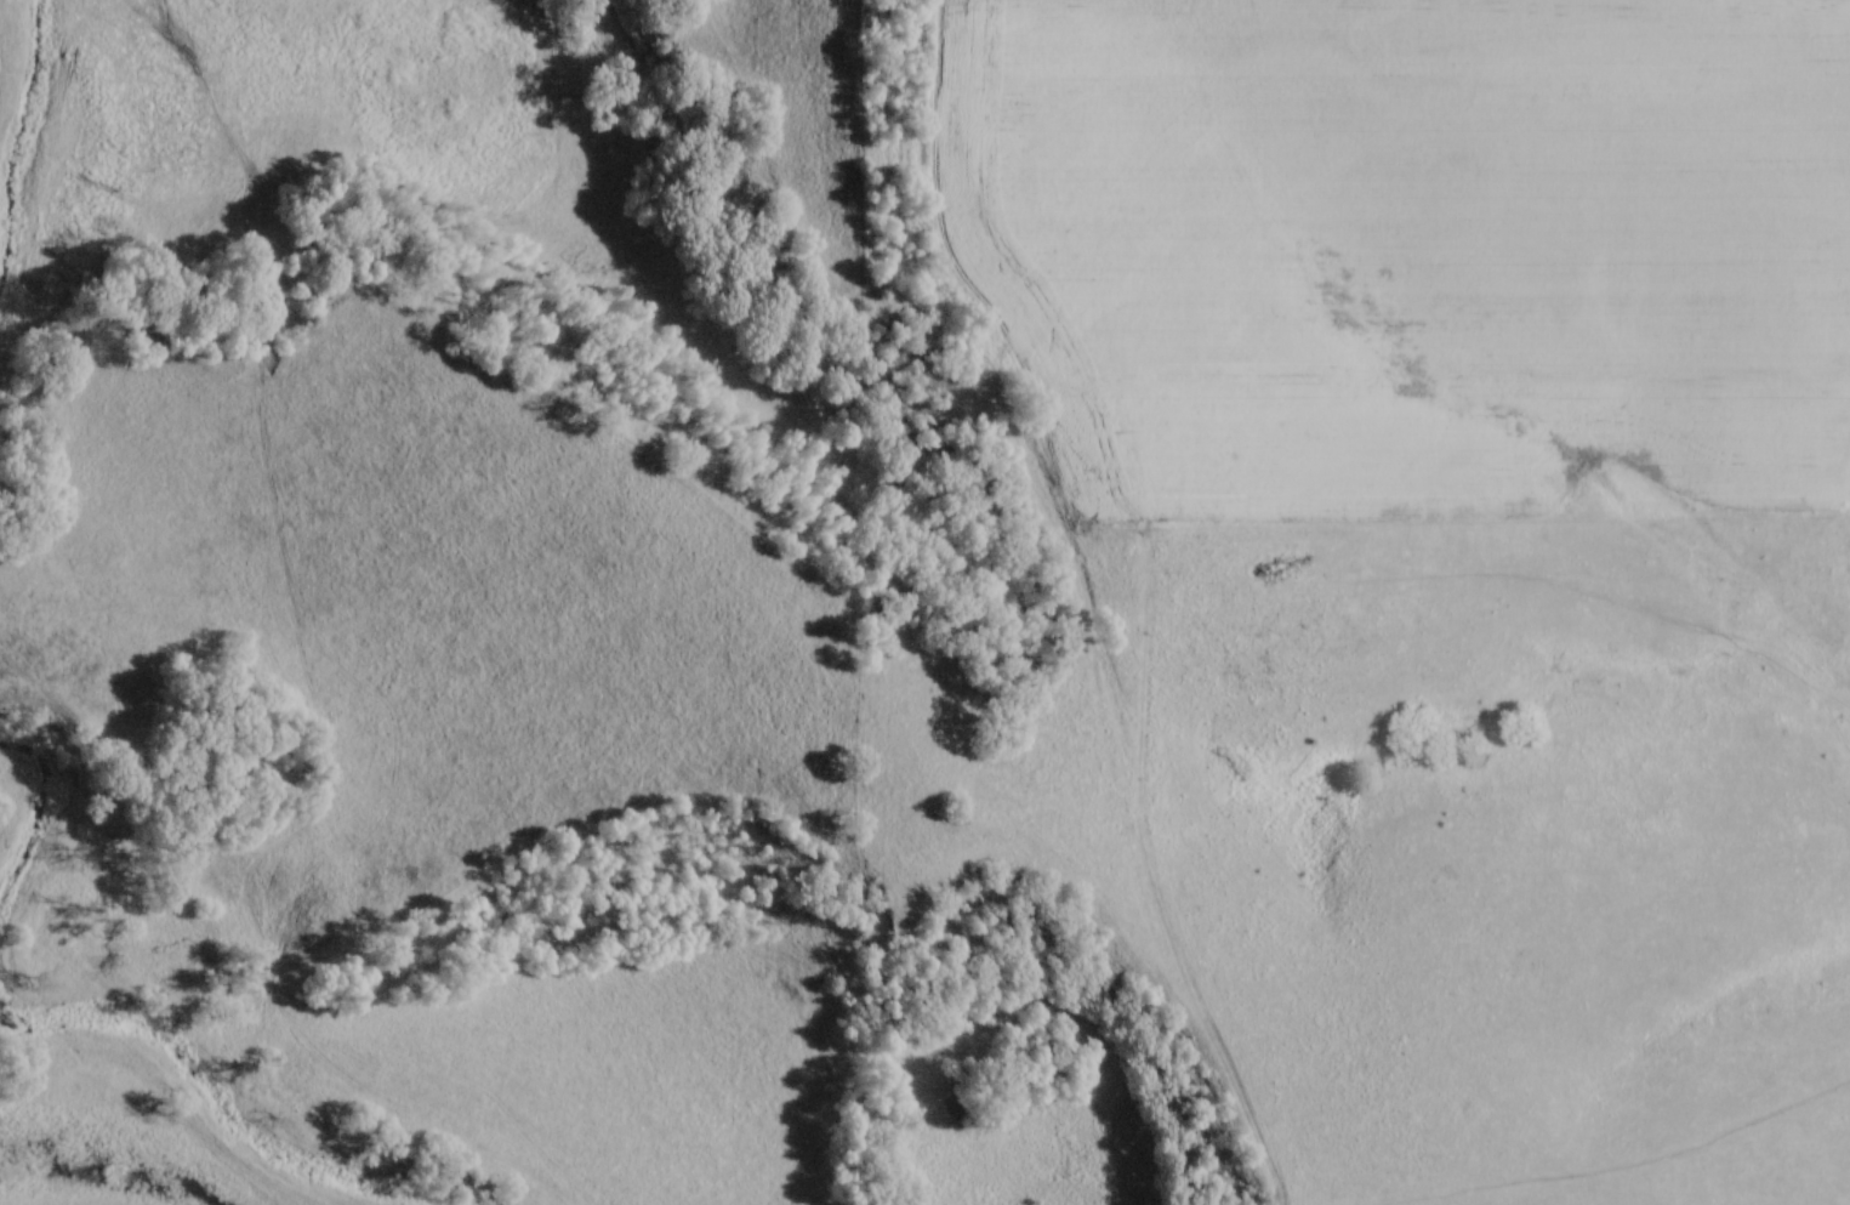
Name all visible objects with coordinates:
river: (16, 135)
river: (38, 803)
river: (212, 1103)

